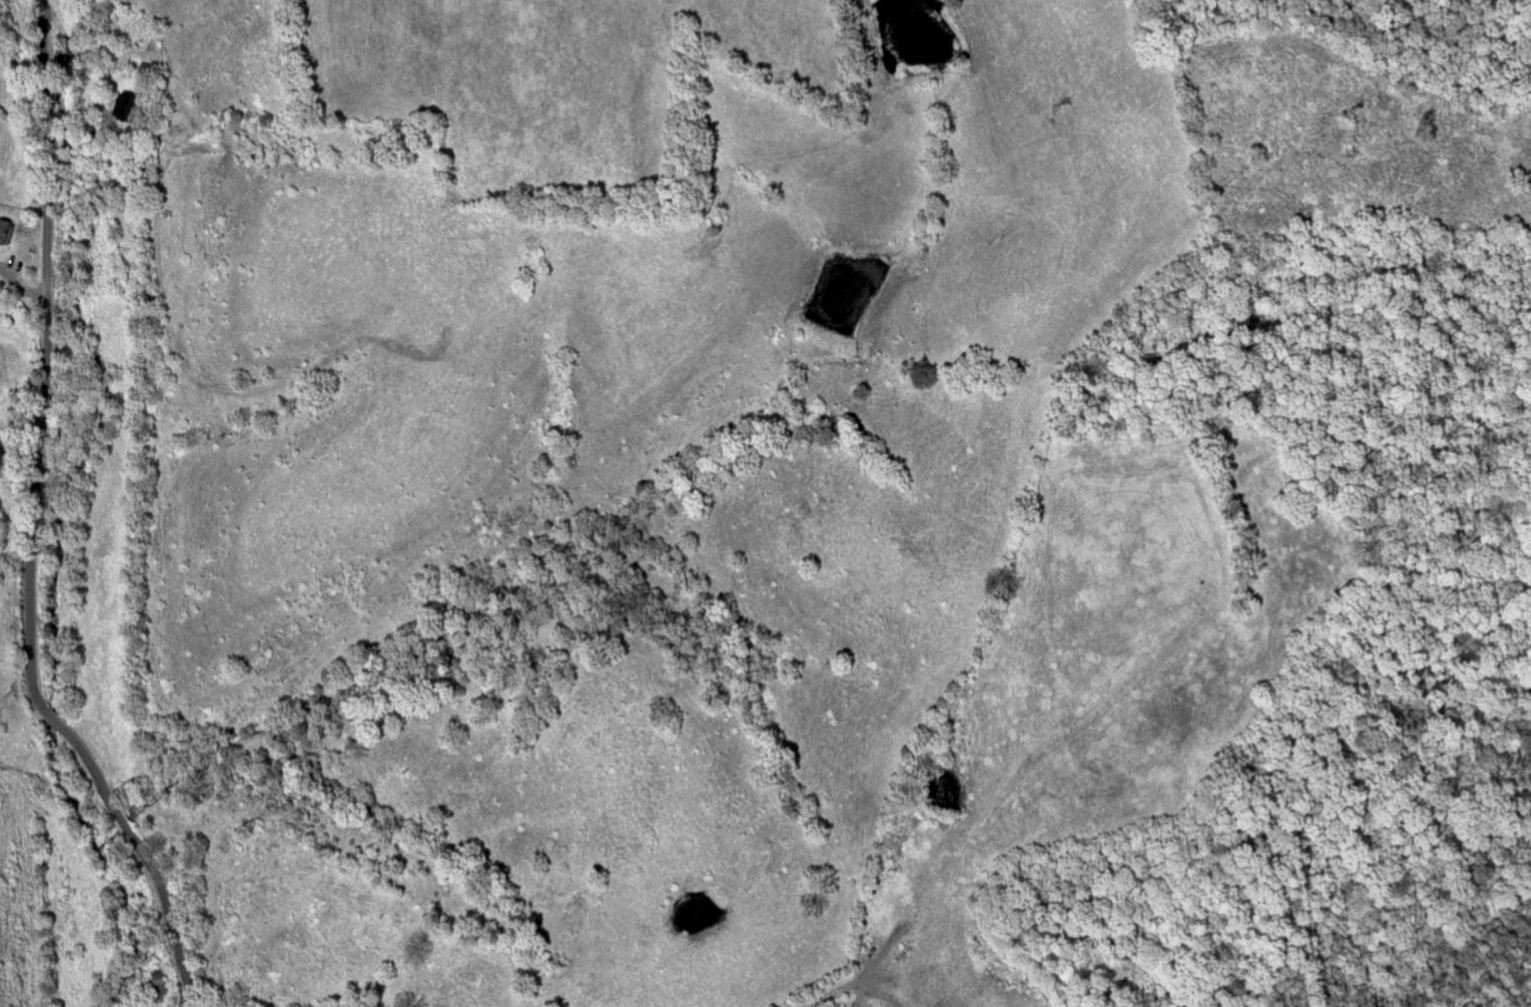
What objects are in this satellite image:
building: (7, 233)
road: (23, 284)
road: (20, 448)
road: (33, 524)
road: (822, 963)

